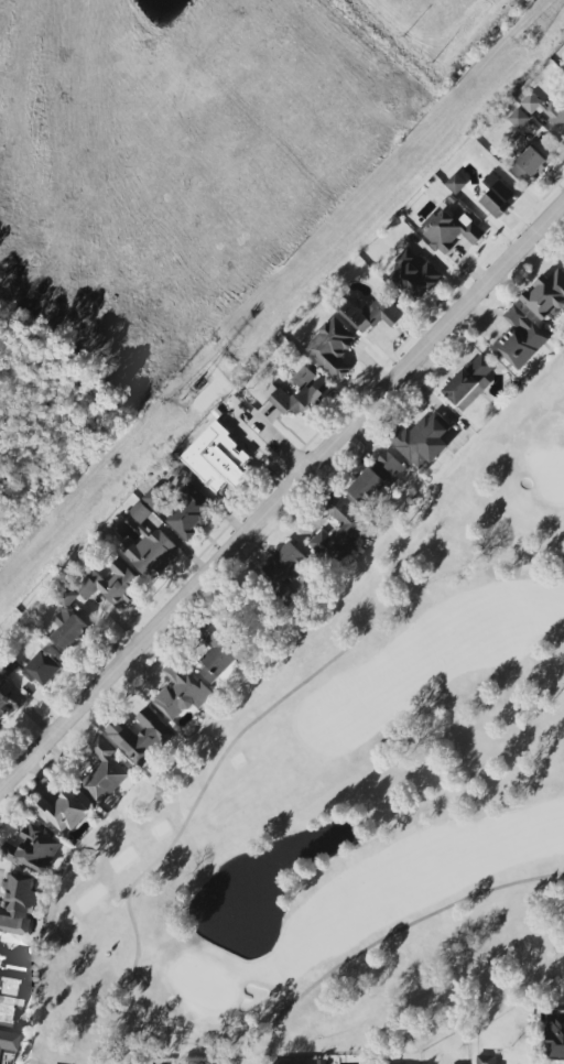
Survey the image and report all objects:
power tower: (524, 39)
building: (545, 112)
building: (519, 119)
road: (217, 156)
building: (530, 165)
road: (64, 174)
building: (456, 184)
building: (497, 197)
building: (452, 231)
building: (415, 275)
building: (546, 295)
building: (372, 314)
building: (520, 339)
building: (332, 348)
building: (470, 382)
power tower: (187, 393)
building: (301, 393)
road: (269, 435)
building: (422, 442)
building: (217, 458)
building: (377, 479)
road: (280, 496)
building: (158, 501)
building: (192, 512)
building: (338, 532)
building: (149, 546)
building: (285, 566)
building: (112, 585)
building: (69, 622)
building: (43, 669)
building: (181, 692)
building: (4, 701)
building: (141, 737)
building: (104, 773)
park: (350, 802)
building: (64, 813)
building: (34, 850)
building: (19, 905)
road: (138, 906)
building: (10, 995)
building: (555, 1036)
building: (8, 1041)
building: (487, 1060)

